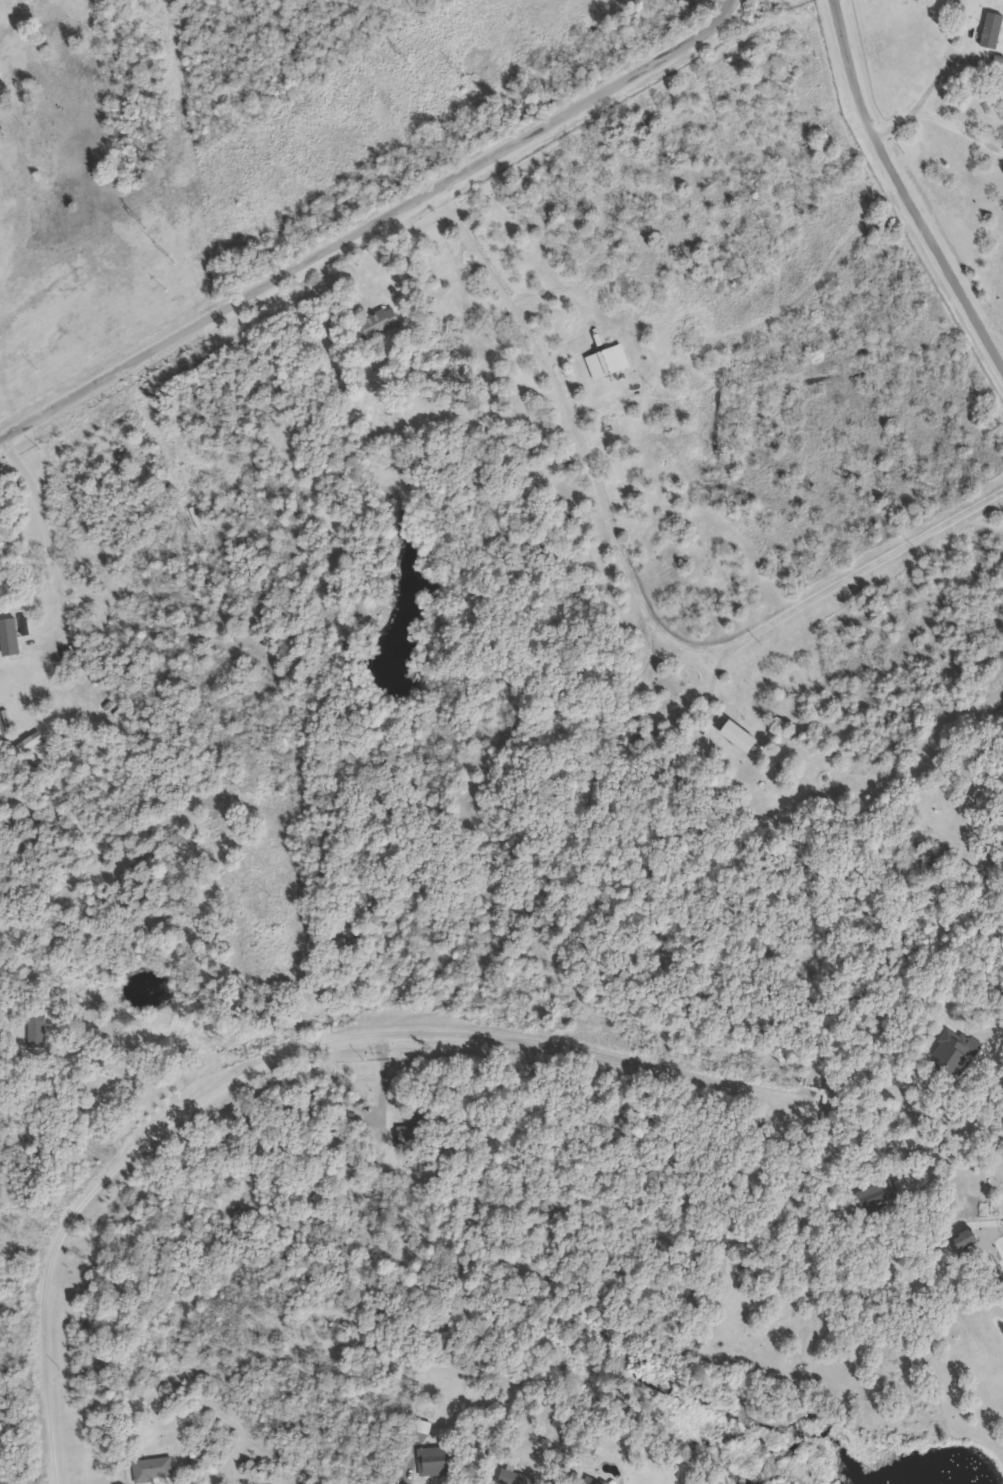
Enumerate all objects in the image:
road: (903, 190)
road: (371, 224)
building: (381, 322)
building: (608, 362)
building: (10, 637)
building: (955, 1051)
road: (279, 1058)
building: (422, 1123)
building: (879, 1197)
building: (967, 1239)
building: (436, 1461)
building: (153, 1468)
building: (596, 1482)

